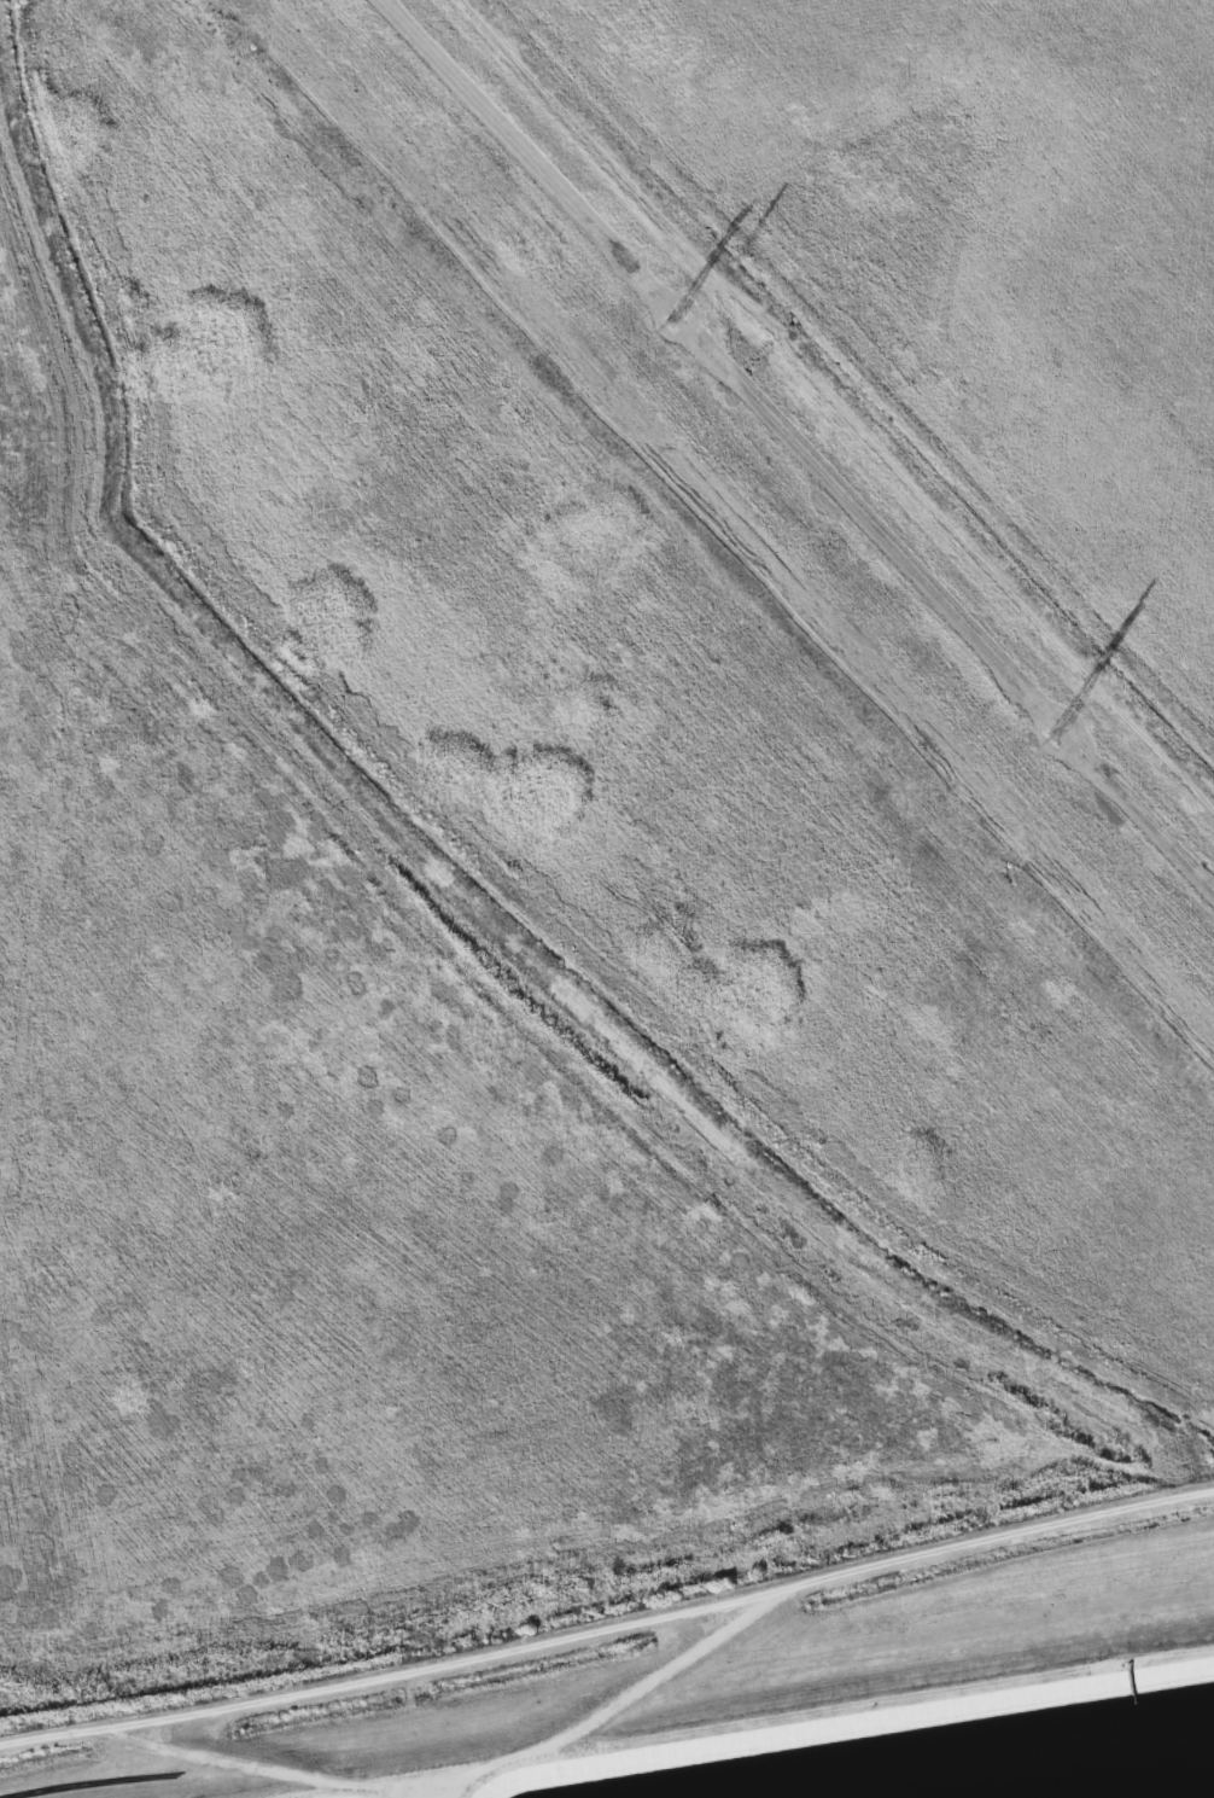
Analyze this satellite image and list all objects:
power tower: (737, 262)
power tower: (676, 321)
power tower: (1101, 654)
power tower: (1057, 733)

